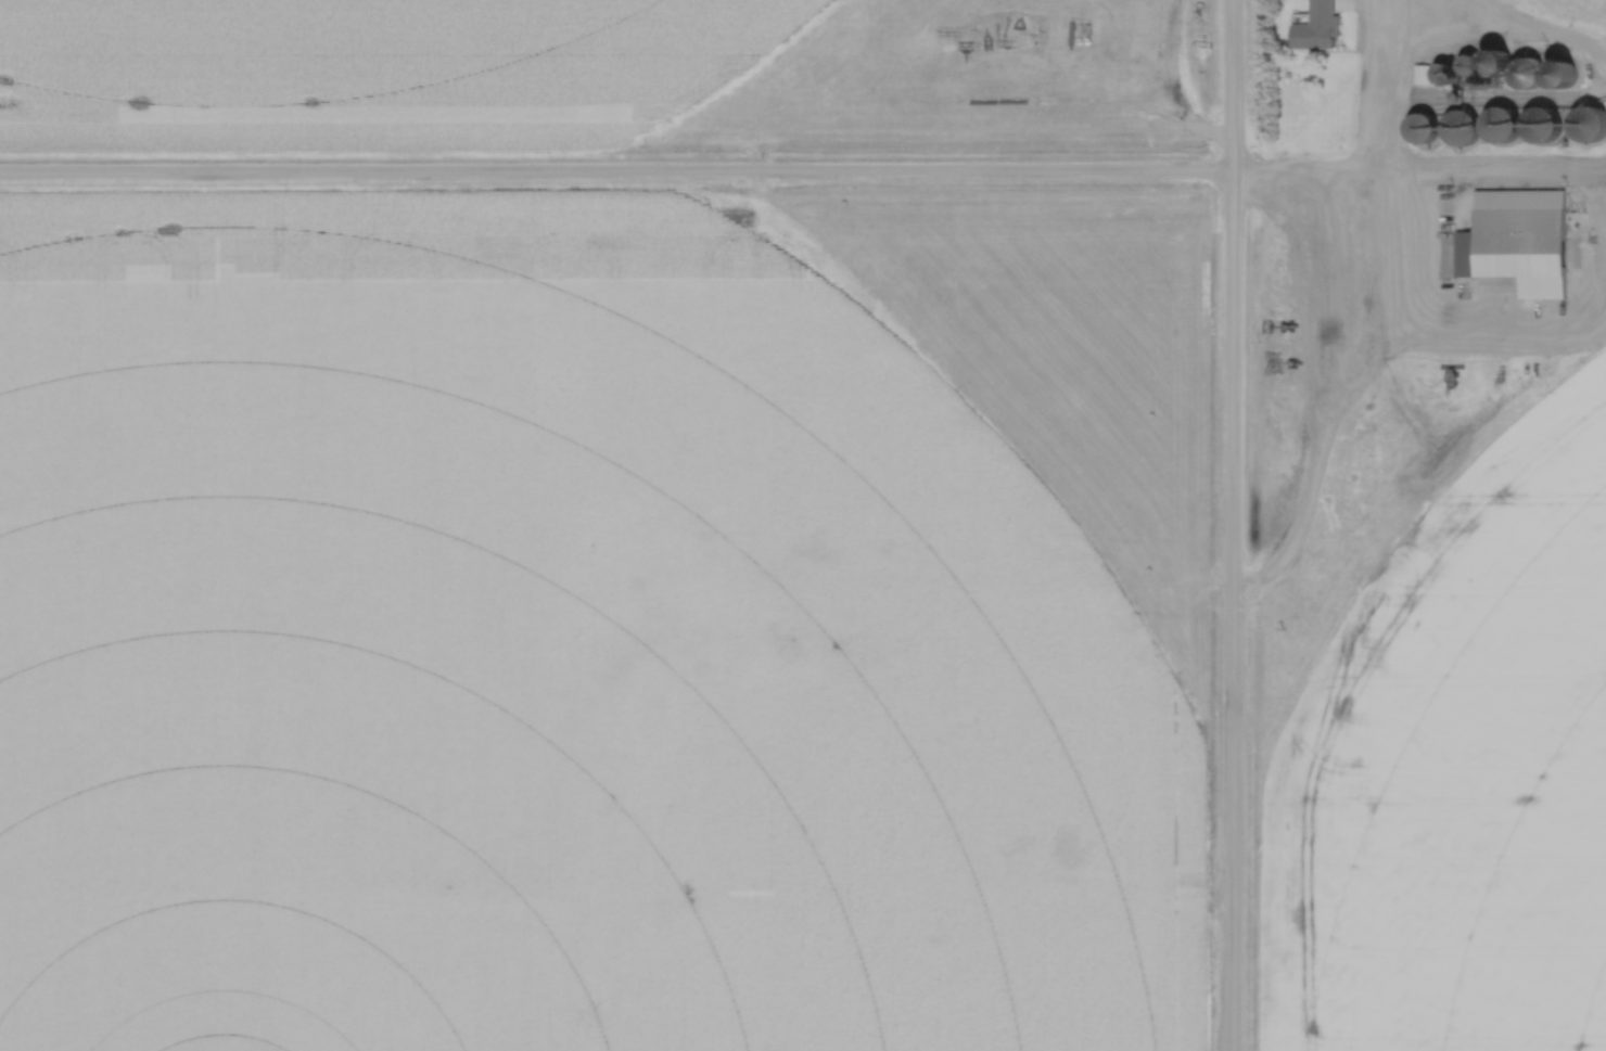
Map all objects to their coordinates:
building: (1317, 35)
road: (1540, 49)
building: (1483, 66)
building: (1526, 75)
building: (1435, 77)
building: (1503, 126)
building: (1590, 126)
building: (1542, 128)
building: (1461, 129)
building: (1423, 131)
road: (803, 172)
building: (1524, 251)
road: (1236, 525)
building: (813, 542)
building: (774, 625)
building: (715, 669)
building: (1072, 847)
building: (998, 869)
road: (1132, 894)

